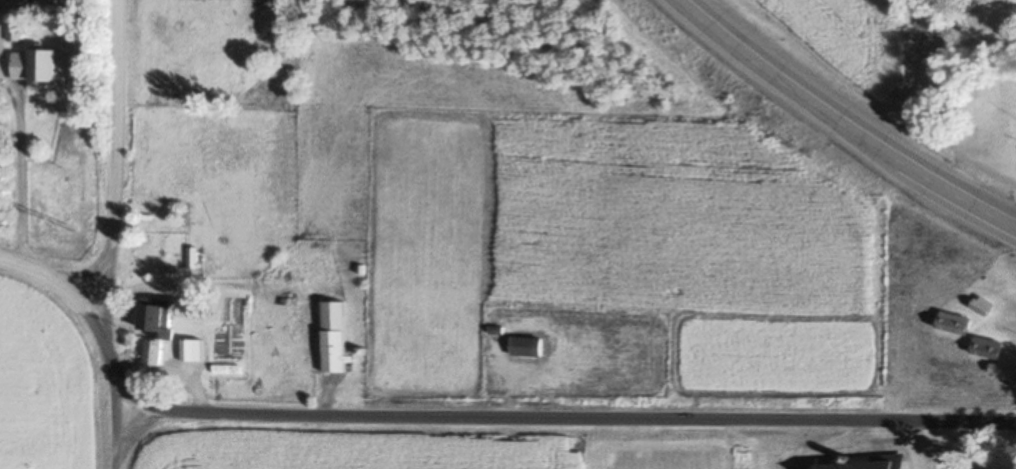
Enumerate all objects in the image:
building: (15, 33)
building: (35, 68)
road: (845, 119)
power tower: (69, 227)
road: (114, 235)
building: (191, 258)
road: (88, 268)
road: (62, 275)
building: (983, 306)
building: (152, 324)
building: (947, 330)
building: (333, 338)
building: (525, 347)
building: (987, 348)
building: (181, 350)
road: (146, 396)
road: (598, 420)
road: (144, 421)
building: (871, 463)

